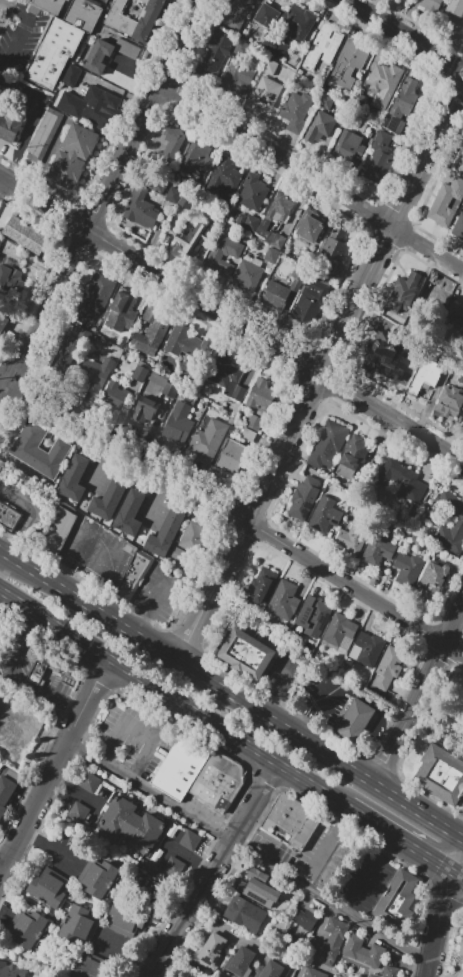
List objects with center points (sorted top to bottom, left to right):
building: (142, 1)
road: (7, 2)
parking lot: (99, 2)
building: (427, 7)
building: (71, 12)
building: (238, 13)
building: (267, 15)
building: (118, 17)
building: (451, 17)
building: (145, 19)
building: (297, 21)
road: (20, 36)
road: (406, 36)
building: (323, 46)
building: (274, 47)
building: (242, 48)
building: (127, 49)
building: (214, 51)
building: (52, 54)
building: (97, 57)
building: (349, 65)
building: (269, 68)
building: (70, 76)
building: (239, 80)
building: (383, 84)
building: (1, 91)
building: (264, 94)
building: (403, 97)
building: (97, 105)
road: (39, 110)
building: (297, 110)
building: (391, 121)
building: (9, 123)
building: (320, 125)
building: (44, 134)
building: (171, 145)
road: (9, 148)
building: (346, 150)
building: (74, 155)
building: (196, 158)
building: (378, 159)
building: (460, 161)
road: (9, 172)
road: (312, 178)
building: (223, 179)
road: (110, 191)
building: (253, 193)
building: (173, 194)
building: (185, 199)
building: (143, 202)
building: (445, 204)
building: (277, 206)
building: (245, 220)
building: (458, 227)
building: (308, 231)
building: (26, 235)
building: (191, 239)
building: (1, 240)
building: (222, 250)
building: (330, 255)
building: (247, 275)
building: (11, 278)
building: (402, 291)
building: (276, 297)
building: (93, 298)
building: (308, 304)
road: (348, 313)
building: (119, 316)
building: (455, 317)
road: (231, 320)
building: (4, 322)
building: (154, 324)
building: (186, 342)
building: (67, 349)
building: (384, 360)
building: (94, 373)
building: (139, 375)
building: (226, 375)
road: (9, 376)
building: (426, 378)
building: (158, 379)
building: (170, 389)
building: (115, 394)
building: (258, 394)
road: (9, 398)
building: (450, 402)
road: (1, 411)
building: (143, 414)
building: (178, 423)
building: (209, 437)
building: (326, 447)
building: (39, 450)
building: (231, 455)
building: (353, 456)
building: (73, 481)
building: (403, 482)
building: (303, 499)
building: (109, 500)
road: (33, 504)
building: (128, 515)
building: (324, 516)
building: (8, 518)
road: (240, 520)
building: (458, 522)
building: (56, 532)
building: (192, 535)
building: (165, 536)
building: (353, 539)
road: (12, 545)
building: (377, 550)
road: (240, 554)
building: (408, 566)
road: (232, 568)
road: (43, 576)
building: (133, 576)
building: (432, 581)
building: (261, 587)
building: (283, 601)
road: (17, 608)
road: (106, 615)
building: (313, 619)
road: (205, 620)
road: (32, 626)
road: (44, 626)
building: (340, 633)
parking lot: (0, 640)
road: (79, 648)
building: (366, 650)
road: (20, 651)
building: (246, 652)
building: (44, 662)
road: (184, 664)
building: (388, 666)
road: (39, 688)
road: (417, 694)
road: (164, 699)
road: (85, 702)
park: (445, 704)
road: (251, 706)
road: (74, 709)
building: (353, 721)
road: (90, 724)
road: (283, 726)
road: (120, 729)
road: (228, 739)
road: (150, 742)
road: (72, 744)
road: (262, 759)
road: (339, 761)
building: (181, 767)
building: (440, 774)
building: (218, 781)
building: (89, 783)
road: (71, 790)
road: (309, 790)
building: (5, 793)
road: (152, 794)
road: (304, 794)
road: (33, 805)
road: (252, 805)
road: (417, 810)
building: (77, 811)
road: (397, 819)
building: (294, 820)
building: (132, 823)
road: (461, 834)
building: (189, 839)
road: (49, 845)
road: (396, 845)
road: (321, 848)
building: (339, 864)
building: (173, 865)
road: (0, 868)
road: (191, 873)
road: (457, 874)
road: (369, 878)
building: (100, 879)
building: (47, 888)
building: (257, 888)
building: (400, 900)
road: (329, 903)
road: (186, 909)
building: (245, 913)
building: (303, 922)
building: (100, 928)
road: (441, 928)
building: (29, 929)
road: (449, 929)
road: (223, 930)
building: (332, 939)
building: (461, 946)
building: (211, 950)
building: (364, 952)
building: (242, 960)
building: (273, 967)
building: (91, 969)
building: (11, 970)
building: (387, 971)
building: (314, 972)

